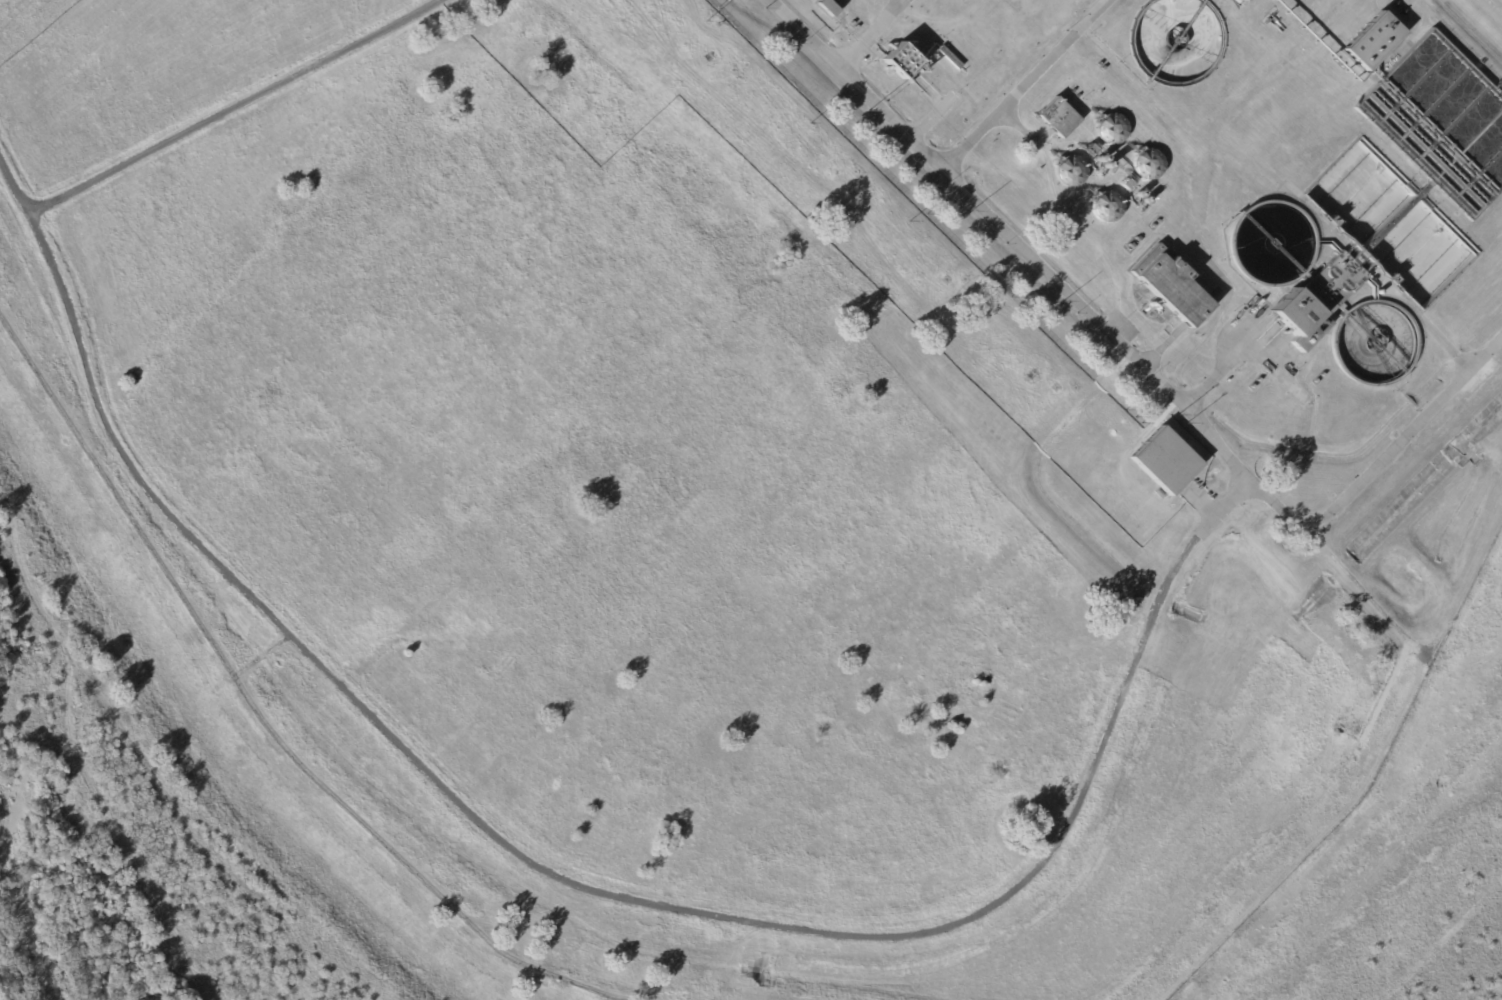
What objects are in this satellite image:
building: (960, 0)
building: (1244, 0)
building: (830, 9)
road: (1489, 11)
road: (1339, 29)
road: (869, 35)
building: (1373, 41)
building: (950, 58)
building: (710, 59)
building: (902, 60)
road: (1027, 84)
road: (935, 88)
road: (229, 108)
road: (938, 113)
building: (1058, 118)
road: (1017, 122)
building: (1112, 131)
building: (1092, 149)
building: (1148, 165)
building: (1071, 174)
building: (1125, 186)
building: (1107, 208)
road: (1068, 214)
wastewater plant: (1230, 235)
road: (1023, 247)
road: (1378, 278)
building: (1172, 286)
building: (1296, 323)
road: (1222, 374)
road: (1271, 375)
road: (1391, 451)
building: (1166, 462)
road: (572, 881)

